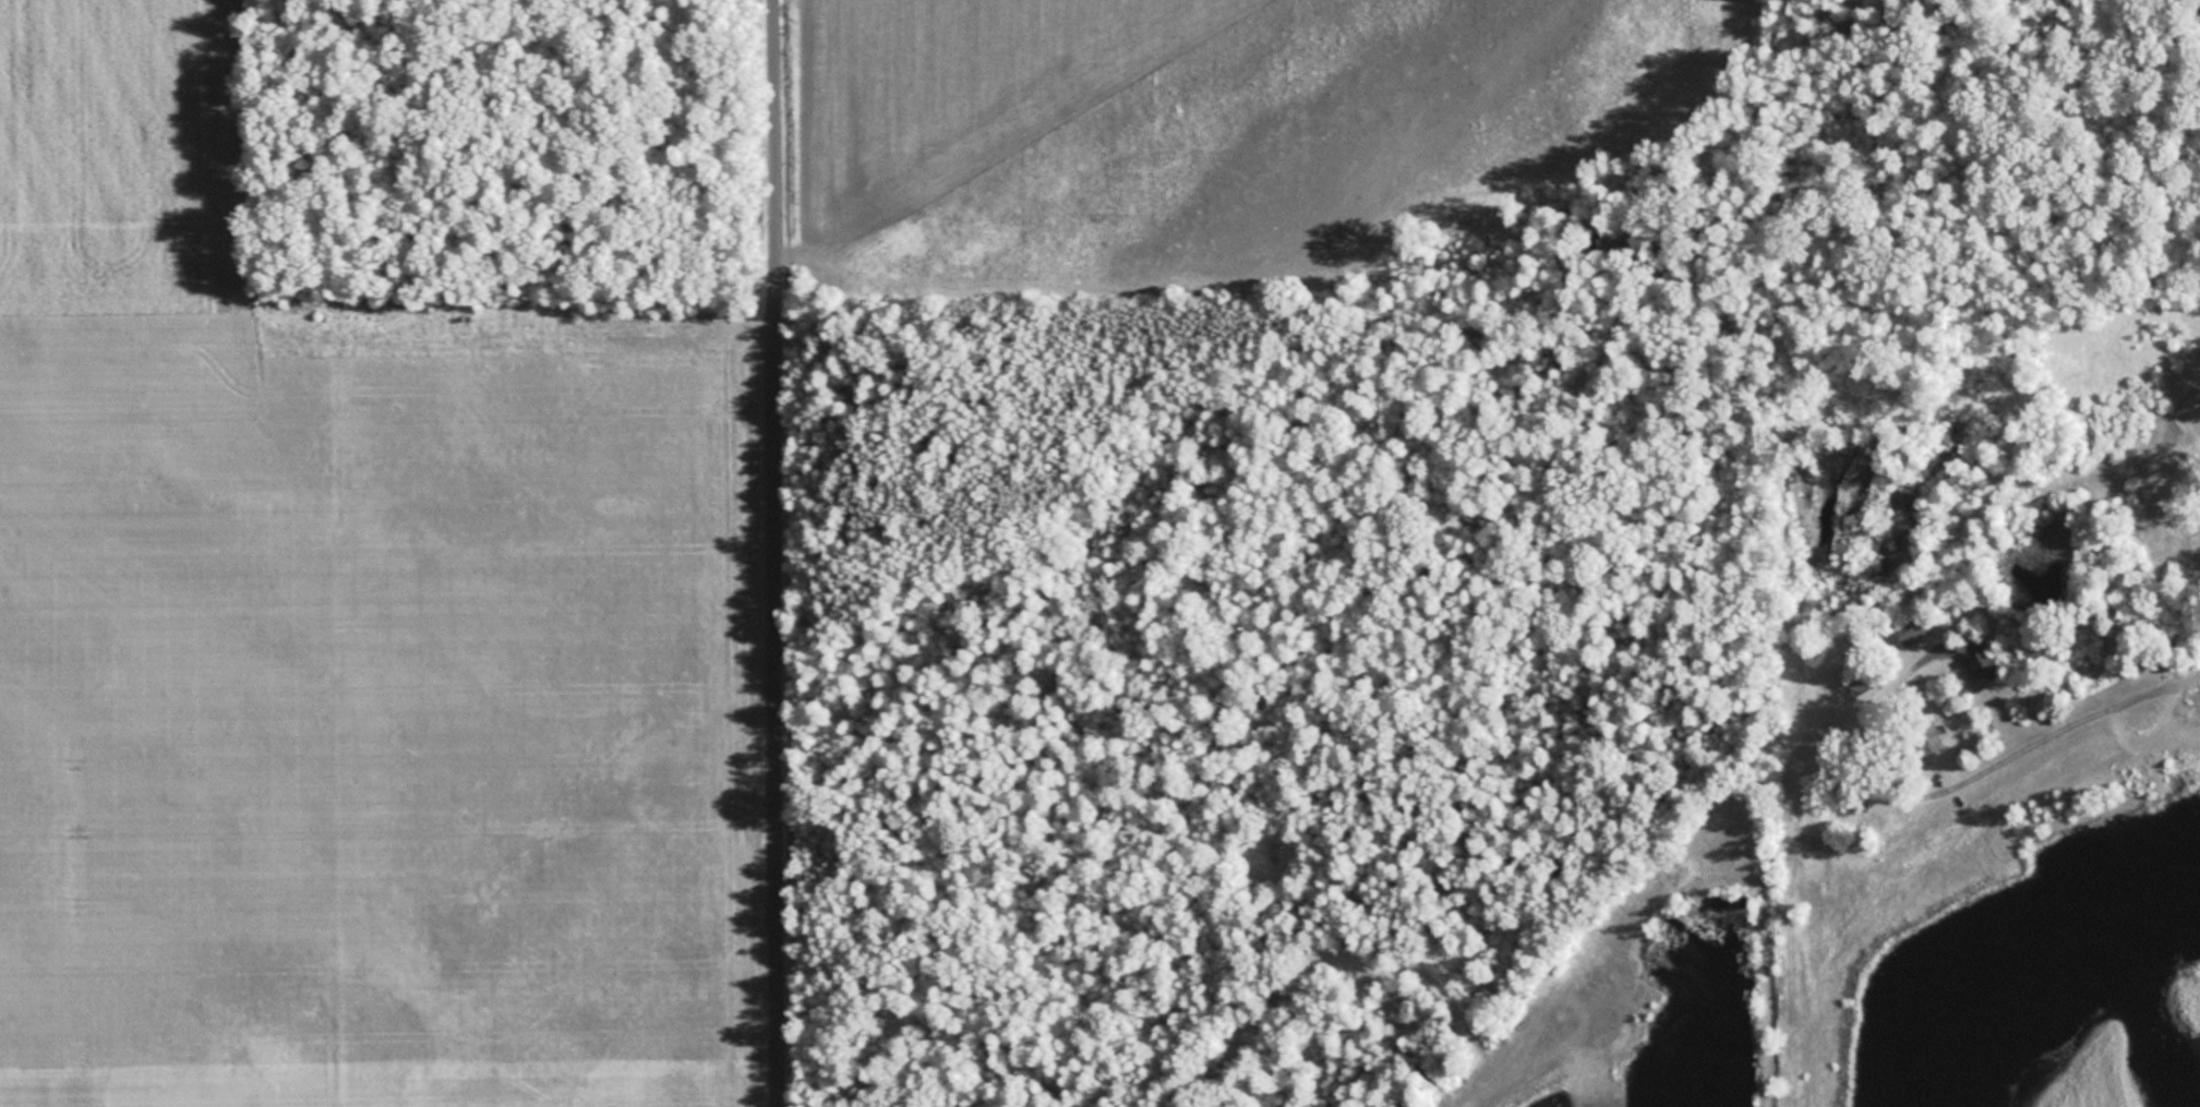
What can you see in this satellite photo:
road: (778, 553)
building: (1912, 626)
building: (1980, 657)
road: (2063, 723)
building: (1926, 735)

